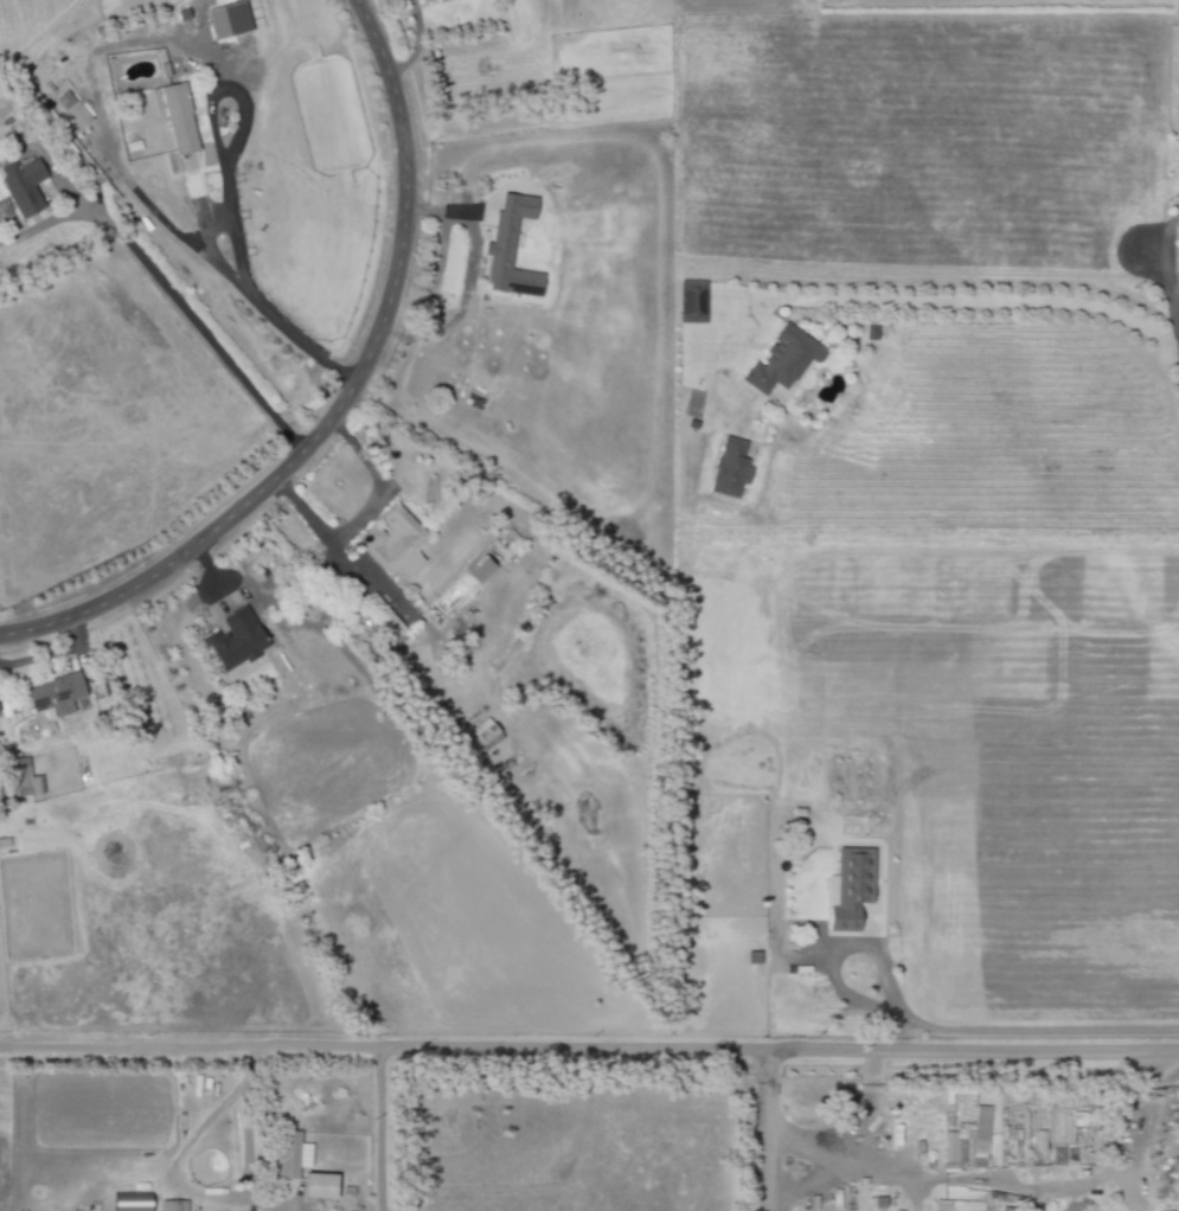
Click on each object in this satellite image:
building: (437, 0)
building: (226, 20)
road: (415, 44)
building: (70, 109)
building: (173, 116)
road: (211, 147)
road: (44, 166)
building: (20, 186)
road: (123, 192)
road: (40, 224)
building: (507, 248)
road: (1173, 278)
road: (468, 280)
road: (1170, 294)
building: (690, 301)
road: (950, 301)
road: (248, 305)
road: (190, 327)
building: (781, 360)
road: (341, 402)
building: (728, 467)
road: (363, 511)
building: (391, 540)
building: (476, 570)
building: (235, 640)
road: (55, 652)
building: (482, 735)
building: (18, 778)
building: (846, 888)
road: (833, 950)
road: (1032, 1031)
road: (589, 1051)
road: (768, 1091)
road: (870, 1109)
road: (245, 1122)
road: (378, 1128)
building: (290, 1154)
road: (767, 1168)
road: (908, 1168)
building: (316, 1186)
road: (914, 1190)
building: (128, 1202)
building: (171, 1205)
building: (957, 1205)

